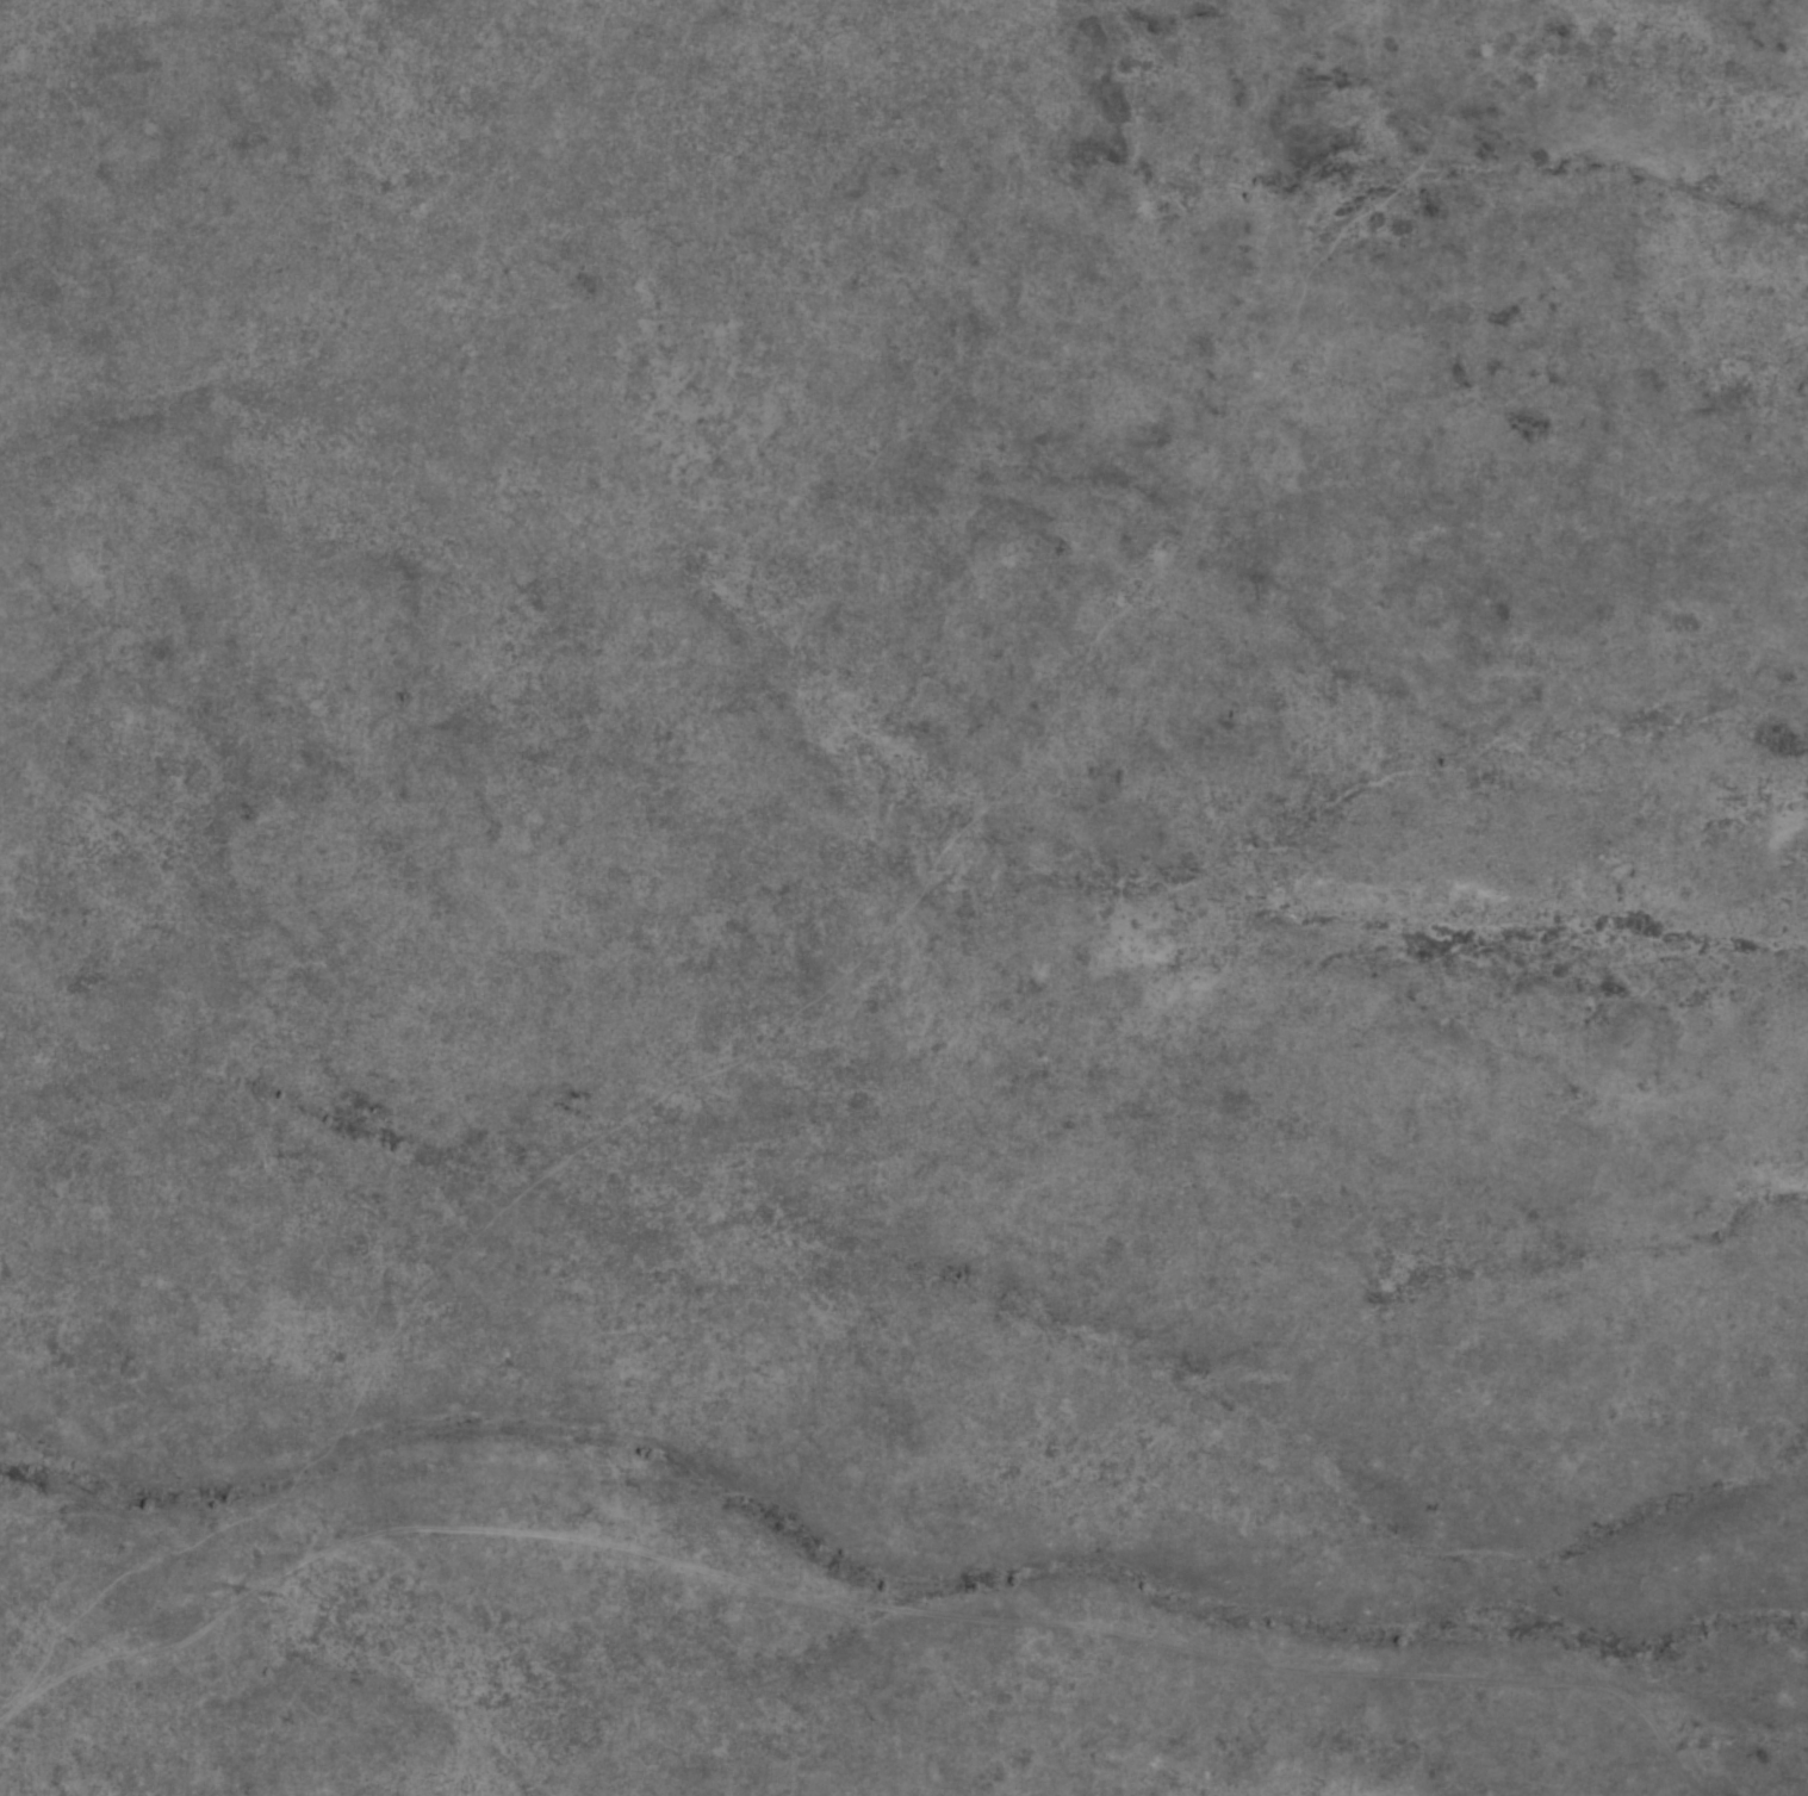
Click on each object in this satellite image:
road: (853, 1603)

